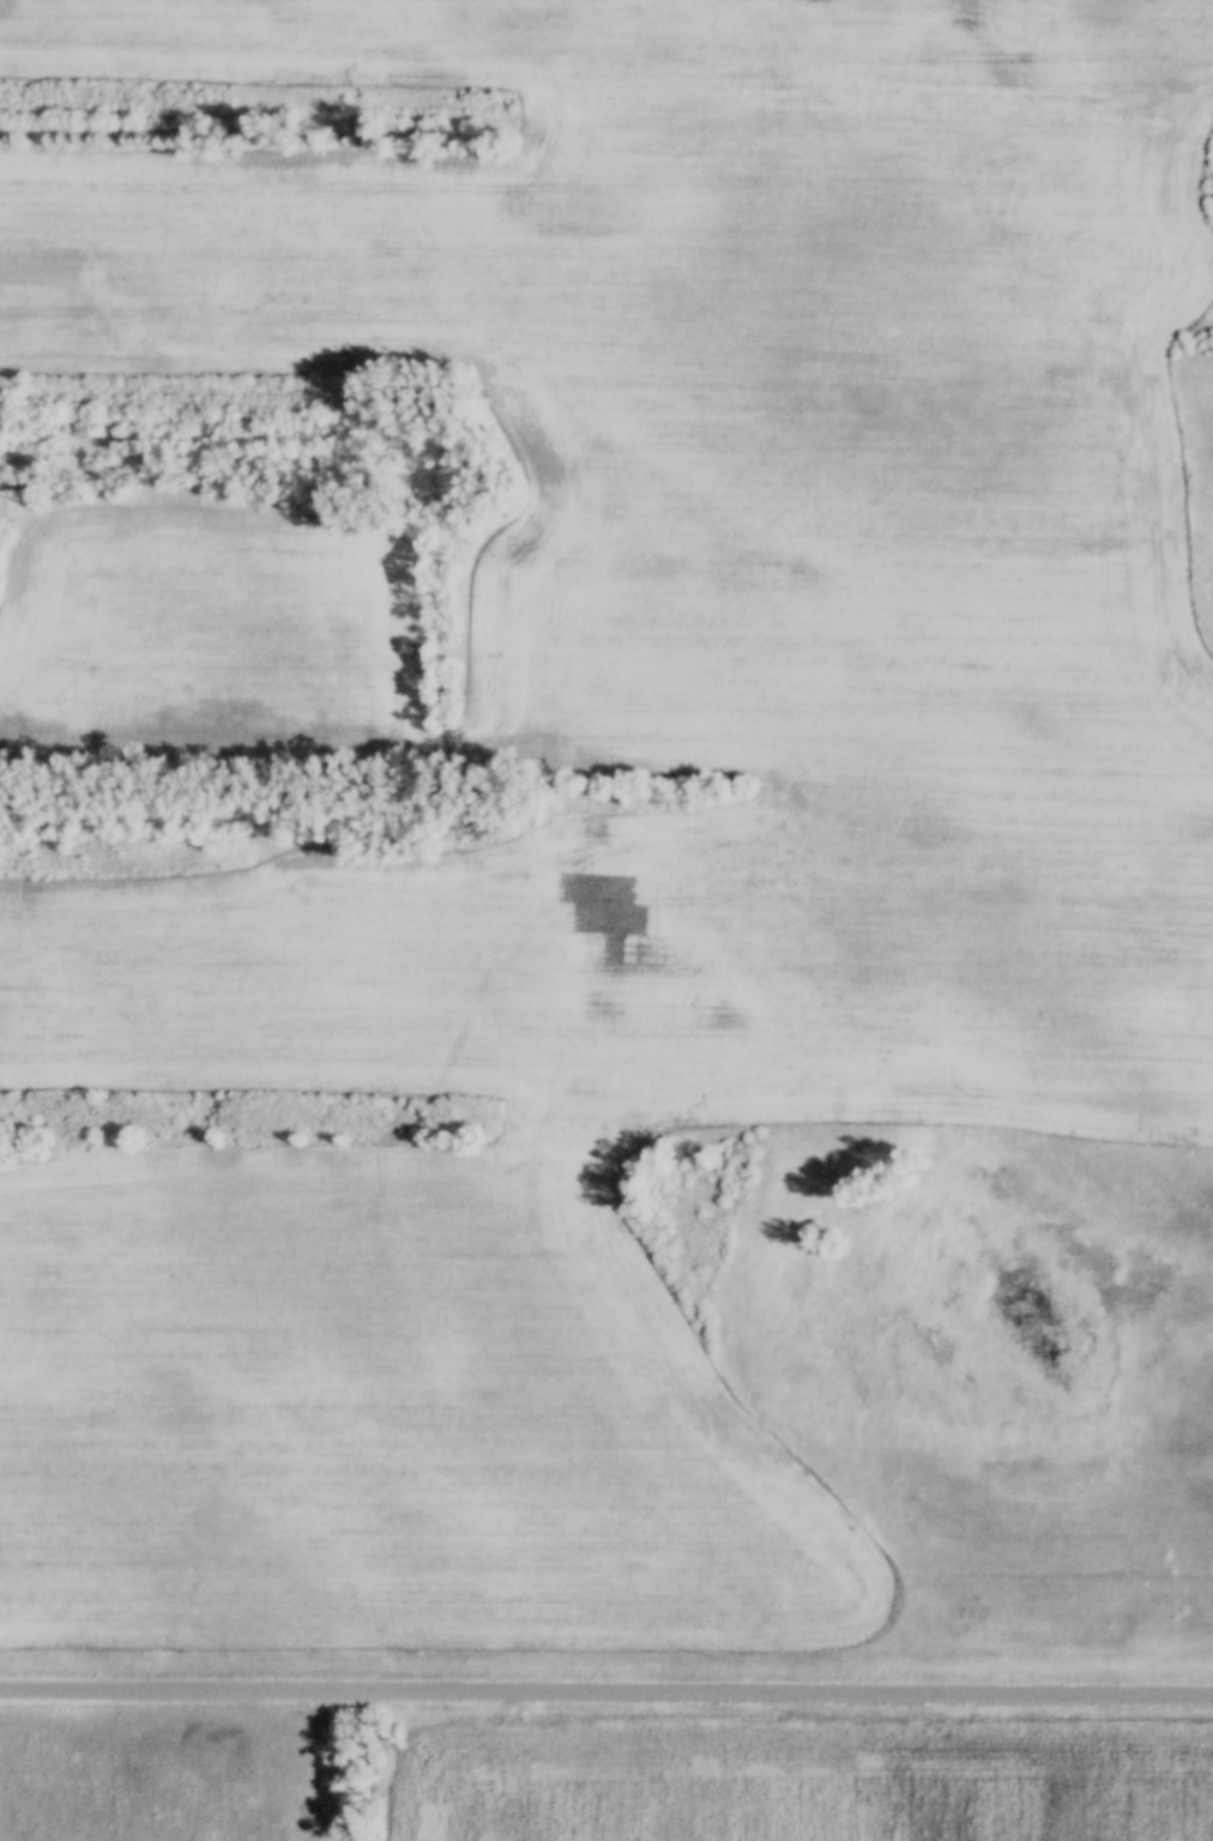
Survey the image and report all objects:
road: (606, 1684)

